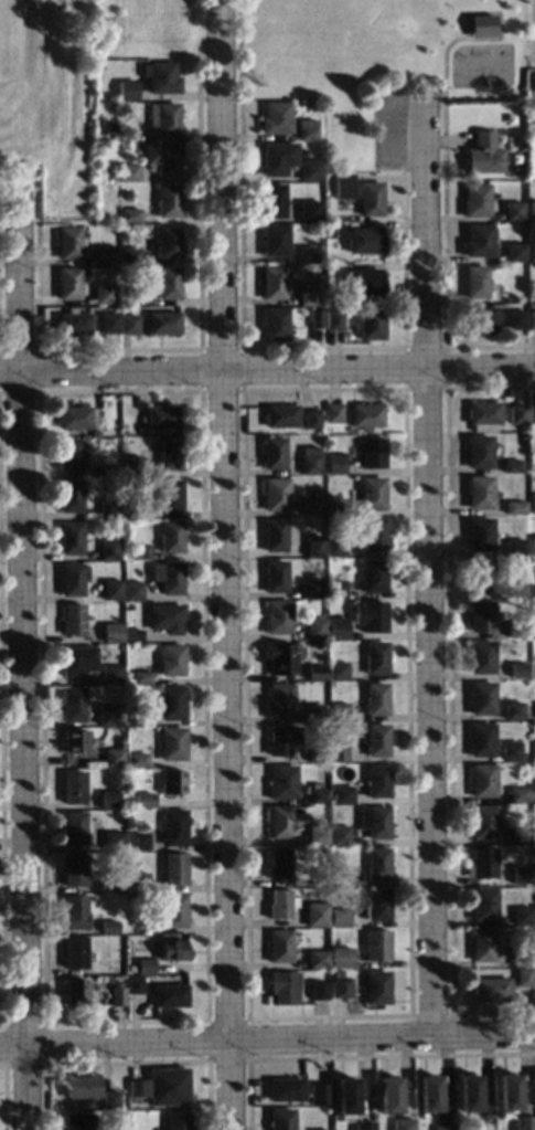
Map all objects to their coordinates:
park: (148, 28)
park: (377, 63)
road: (439, 63)
building: (160, 80)
building: (529, 83)
building: (126, 92)
airport: (52, 96)
building: (274, 118)
building: (162, 120)
building: (304, 129)
parking lot: (384, 134)
building: (482, 154)
building: (276, 158)
building: (162, 160)
building: (309, 170)
building: (125, 176)
building: (343, 186)
road: (220, 187)
building: (370, 199)
building: (271, 200)
building: (474, 200)
building: (167, 201)
building: (308, 211)
building: (512, 211)
building: (529, 211)
building: (130, 215)
building: (363, 240)
building: (274, 241)
building: (477, 241)
building: (168, 242)
building: (67, 243)
building: (514, 252)
building: (531, 252)
building: (306, 254)
building: (106, 255)
building: (129, 255)
road: (18, 282)
building: (363, 282)
building: (474, 282)
building: (66, 283)
building: (168, 283)
building: (271, 283)
building: (103, 295)
building: (307, 296)
building: (129, 297)
building: (478, 318)
building: (314, 319)
building: (332, 320)
building: (514, 320)
building: (531, 320)
building: (370, 323)
building: (72, 324)
building: (108, 324)
building: (163, 324)
building: (272, 324)
building: (129, 325)
road: (378, 371)
road: (9, 374)
road: (120, 374)
building: (332, 413)
building: (531, 415)
building: (280, 416)
building: (365, 416)
building: (482, 416)
building: (516, 416)
building: (161, 418)
building: (73, 419)
building: (311, 420)
building: (531, 440)
building: (371, 453)
building: (478, 453)
building: (272, 454)
building: (168, 455)
building: (68, 456)
building: (309, 461)
building: (334, 464)
building: (131, 465)
building: (510, 466)
building: (104, 471)
building: (128, 488)
building: (478, 494)
building: (275, 495)
building: (372, 495)
building: (170, 496)
building: (68, 497)
building: (531, 504)
building: (310, 508)
building: (336, 508)
building: (514, 508)
building: (107, 509)
building: (130, 510)
building: (478, 535)
building: (277, 536)
building: (374, 536)
building: (171, 538)
building: (69, 539)
building: (532, 546)
building: (313, 548)
building: (334, 548)
building: (514, 548)
building: (108, 550)
building: (138, 552)
road: (428, 570)
building: (372, 577)
building: (479, 577)
building: (274, 578)
building: (168, 579)
building: (69, 581)
building: (532, 587)
building: (334, 589)
building: (308, 590)
building: (514, 590)
building: (110, 591)
building: (131, 592)
building: (370, 617)
building: (479, 617)
building: (277, 619)
building: (164, 620)
building: (71, 621)
building: (313, 630)
building: (336, 630)
building: (532, 631)
building: (514, 632)
building: (110, 634)
building: (131, 636)
building: (479, 658)
building: (280, 659)
building: (375, 659)
building: (75, 662)
building: (170, 662)
building: (516, 672)
building: (336, 673)
building: (314, 674)
building: (109, 676)
building: (139, 678)
building: (374, 700)
building: (480, 700)
building: (277, 703)
building: (171, 705)
building: (72, 706)
road: (226, 708)
building: (534, 711)
building: (336, 712)
building: (511, 712)
building: (313, 714)
building: (105, 717)
building: (138, 719)
building: (279, 741)
building: (375, 741)
building: (479, 741)
building: (73, 743)
building: (172, 746)
road: (21, 752)
building: (509, 752)
building: (335, 753)
building: (315, 757)
building: (111, 759)
building: (135, 761)
building: (280, 783)
building: (375, 783)
building: (481, 783)
building: (171, 784)
building: (72, 790)
building: (533, 793)
building: (341, 796)
building: (516, 796)
building: (315, 798)
building: (107, 801)
building: (142, 802)
building: (373, 823)
building: (278, 824)
building: (481, 824)
building: (173, 830)
building: (72, 831)
building: (338, 836)
building: (315, 837)
building: (512, 837)
building: (111, 843)
building: (138, 843)
building: (377, 865)
building: (277, 866)
building: (480, 866)
building: (72, 872)
building: (174, 872)
building: (533, 876)
building: (518, 877)
building: (137, 884)
building: (106, 886)
building: (278, 906)
building: (377, 907)
building: (482, 907)
building: (174, 912)
building: (73, 915)
building: (315, 917)
building: (521, 918)
building: (534, 918)
building: (338, 920)
building: (107, 929)
building: (376, 947)
building: (481, 948)
building: (278, 949)
building: (172, 952)
building: (73, 955)
building: (340, 959)
building: (317, 961)
building: (520, 962)
building: (145, 969)
building: (522, 980)
building: (534, 980)
building: (133, 988)
building: (281, 989)
building: (376, 990)
building: (340, 991)
building: (318, 992)
building: (490, 992)
building: (73, 994)
building: (116, 996)
building: (169, 999)
road: (381, 1039)
road: (114, 1046)
building: (164, 1086)
building: (77, 1087)
road: (228, 1087)
building: (133, 1088)
building: (283, 1089)
building: (467, 1091)
building: (505, 1091)
building: (317, 1094)
building: (427, 1094)
building: (344, 1095)
building: (387, 1095)
building: (106, 1099)
building: (278, 1119)
building: (174, 1121)
building: (74, 1122)
building: (522, 1122)
building: (400, 1124)
building: (362, 1126)
building: (440, 1127)

